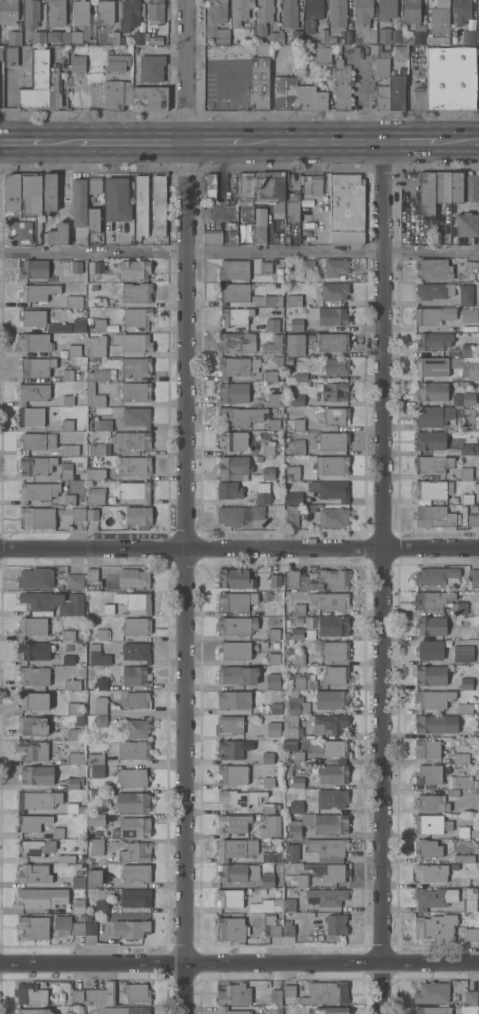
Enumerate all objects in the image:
building: (155, 10)
building: (387, 10)
building: (462, 10)
building: (8, 11)
building: (105, 11)
building: (216, 11)
building: (240, 11)
building: (411, 12)
building: (56, 13)
building: (131, 13)
building: (289, 13)
building: (337, 13)
building: (31, 14)
building: (312, 14)
building: (263, 16)
building: (441, 17)
building: (363, 18)
building: (80, 20)
building: (222, 35)
building: (384, 35)
building: (323, 36)
building: (333, 36)
building: (471, 36)
building: (477, 36)
building: (14, 37)
building: (38, 37)
building: (59, 37)
building: (276, 37)
building: (296, 37)
building: (345, 37)
building: (396, 37)
building: (115, 38)
building: (146, 38)
building: (419, 38)
building: (357, 39)
building: (123, 40)
building: (437, 40)
building: (374, 49)
road: (163, 51)
building: (400, 52)
building: (1, 53)
building: (323, 55)
building: (10, 56)
building: (117, 62)
building: (77, 64)
building: (382, 67)
building: (151, 68)
building: (331, 71)
building: (259, 77)
building: (450, 78)
road: (238, 80)
building: (36, 82)
building: (342, 84)
building: (54, 88)
building: (397, 90)
road: (410, 91)
building: (285, 92)
building: (117, 94)
road: (365, 94)
building: (418, 95)
road: (406, 96)
building: (306, 97)
building: (149, 98)
building: (383, 98)
building: (322, 100)
road: (10, 106)
road: (20, 142)
road: (58, 142)
road: (132, 142)
road: (213, 142)
road: (311, 142)
road: (410, 142)
road: (456, 142)
road: (476, 142)
building: (293, 180)
building: (311, 183)
building: (246, 184)
building: (210, 186)
building: (471, 186)
building: (94, 187)
building: (443, 187)
building: (457, 187)
building: (270, 189)
building: (50, 191)
building: (31, 192)
building: (12, 193)
building: (427, 193)
building: (111, 198)
building: (123, 200)
building: (79, 202)
building: (347, 202)
building: (159, 204)
building: (141, 205)
building: (291, 206)
building: (247, 212)
building: (93, 220)
building: (466, 224)
building: (260, 225)
building: (231, 227)
building: (20, 231)
building: (62, 232)
building: (212, 236)
building: (52, 237)
road: (239, 251)
building: (307, 266)
building: (77, 267)
building: (99, 267)
building: (266, 267)
building: (334, 267)
building: (471, 267)
building: (457, 268)
building: (34, 269)
building: (233, 269)
building: (434, 269)
building: (135, 270)
building: (434, 290)
building: (332, 291)
building: (37, 292)
building: (232, 292)
building: (136, 293)
building: (465, 294)
building: (272, 300)
building: (293, 300)
building: (74, 301)
building: (234, 315)
building: (333, 315)
building: (468, 315)
building: (137, 316)
building: (427, 316)
building: (32, 318)
building: (78, 324)
building: (271, 324)
building: (296, 324)
building: (98, 325)
building: (59, 327)
building: (467, 327)
building: (236, 341)
building: (331, 341)
building: (433, 341)
building: (34, 342)
building: (133, 342)
building: (97, 345)
building: (272, 346)
building: (77, 350)
building: (467, 350)
building: (292, 352)
building: (277, 359)
building: (136, 366)
building: (236, 366)
building: (335, 366)
building: (432, 366)
building: (37, 367)
building: (471, 367)
building: (68, 375)
building: (97, 375)
building: (269, 375)
building: (300, 376)
building: (136, 391)
building: (332, 391)
building: (431, 391)
building: (233, 392)
building: (32, 393)
building: (93, 395)
building: (274, 399)
building: (297, 399)
building: (468, 399)
building: (67, 400)
building: (239, 415)
building: (336, 415)
building: (29, 416)
building: (136, 416)
building: (445, 416)
building: (67, 424)
building: (273, 424)
building: (298, 424)
building: (102, 425)
building: (38, 440)
building: (133, 440)
building: (431, 440)
building: (233, 441)
building: (331, 441)
building: (298, 446)
building: (267, 448)
building: (65, 449)
building: (99, 449)
building: (466, 449)
building: (476, 449)
building: (288, 459)
building: (474, 459)
building: (433, 464)
building: (36, 465)
building: (234, 465)
building: (332, 465)
building: (134, 466)
building: (66, 471)
building: (291, 472)
building: (268, 473)
building: (466, 473)
building: (96, 474)
building: (135, 490)
building: (228, 490)
building: (333, 490)
building: (431, 490)
building: (37, 491)
building: (95, 495)
building: (262, 495)
building: (295, 497)
building: (467, 498)
building: (69, 499)
building: (453, 500)
road: (185, 506)
building: (72, 512)
building: (92, 514)
building: (239, 514)
building: (310, 514)
building: (291, 515)
building: (139, 516)
building: (38, 517)
building: (332, 517)
building: (434, 517)
building: (473, 520)
road: (239, 548)
building: (437, 576)
building: (473, 577)
building: (36, 578)
building: (134, 578)
building: (235, 578)
building: (334, 578)
road: (384, 578)
building: (92, 580)
building: (275, 580)
building: (74, 581)
building: (300, 581)
building: (432, 599)
building: (241, 600)
building: (331, 600)
building: (134, 601)
building: (40, 602)
building: (72, 605)
building: (460, 607)
building: (108, 609)
building: (269, 609)
building: (299, 609)
building: (298, 620)
building: (237, 625)
building: (329, 625)
building: (136, 626)
building: (430, 626)
building: (31, 627)
building: (297, 633)
building: (100, 634)
building: (274, 634)
building: (72, 635)
building: (429, 650)
building: (34, 651)
building: (136, 651)
building: (234, 651)
building: (334, 651)
building: (462, 653)
building: (98, 656)
building: (274, 659)
building: (298, 659)
building: (68, 660)
building: (136, 675)
building: (238, 675)
building: (335, 675)
building: (431, 675)
building: (32, 677)
building: (273, 681)
building: (300, 681)
building: (466, 683)
building: (71, 684)
building: (100, 684)
building: (115, 695)
building: (274, 696)
building: (433, 698)
building: (33, 700)
building: (138, 700)
building: (234, 700)
building: (331, 700)
building: (295, 703)
building: (100, 705)
building: (476, 706)
building: (66, 708)
building: (276, 708)
building: (464, 708)
building: (79, 719)
building: (100, 721)
building: (230, 724)
building: (329, 724)
building: (437, 724)
building: (31, 725)
building: (137, 728)
building: (273, 729)
building: (292, 732)
building: (73, 734)
building: (290, 744)
building: (131, 749)
building: (233, 749)
building: (329, 749)
building: (427, 749)
building: (33, 750)
building: (463, 754)
building: (297, 757)
building: (75, 758)
building: (267, 758)
building: (99, 759)
building: (313, 769)
building: (97, 770)
building: (231, 774)
building: (333, 774)
building: (428, 774)
building: (36, 775)
building: (132, 777)
building: (74, 782)
building: (268, 782)
building: (298, 782)
building: (465, 782)
building: (454, 792)
building: (95, 795)
building: (238, 798)
building: (332, 799)
building: (37, 800)
building: (132, 802)
building: (432, 803)
building: (269, 807)
building: (296, 807)
building: (74, 808)
building: (95, 819)
building: (237, 822)
building: (31, 823)
building: (428, 824)
building: (327, 825)
building: (270, 826)
building: (133, 827)
building: (294, 829)
building: (56, 832)
building: (463, 832)
building: (474, 833)
building: (96, 846)
building: (36, 848)
building: (235, 849)
building: (327, 849)
building: (426, 849)
building: (291, 851)
building: (136, 853)
building: (478, 855)
building: (296, 856)
building: (272, 857)
building: (64, 858)
building: (464, 858)
building: (324, 871)
building: (237, 872)
building: (432, 872)
building: (33, 873)
building: (136, 873)
building: (93, 878)
building: (267, 880)
building: (78, 881)
building: (302, 881)
building: (135, 897)
building: (326, 897)
building: (435, 897)
building: (40, 898)
building: (229, 898)
building: (470, 900)
building: (78, 905)
building: (288, 905)
building: (100, 906)
building: (263, 906)
building: (469, 914)
building: (270, 919)
building: (61, 922)
building: (336, 924)
building: (32, 927)
building: (436, 927)
building: (77, 928)
building: (90, 928)
building: (232, 928)
building: (288, 928)
building: (134, 929)
building: (272, 930)
building: (472, 934)
road: (239, 961)
building: (290, 990)
building: (478, 990)
building: (136, 992)
building: (325, 993)
building: (434, 993)
building: (30, 994)
building: (234, 994)
building: (77, 995)
building: (101, 995)
building: (275, 997)
building: (471, 997)
building: (82, 1009)
building: (125, 1010)
building: (274, 1010)
building: (330, 1010)
building: (433, 1010)
building: (34, 1011)
building: (233, 1011)
building: (71, 1013)

